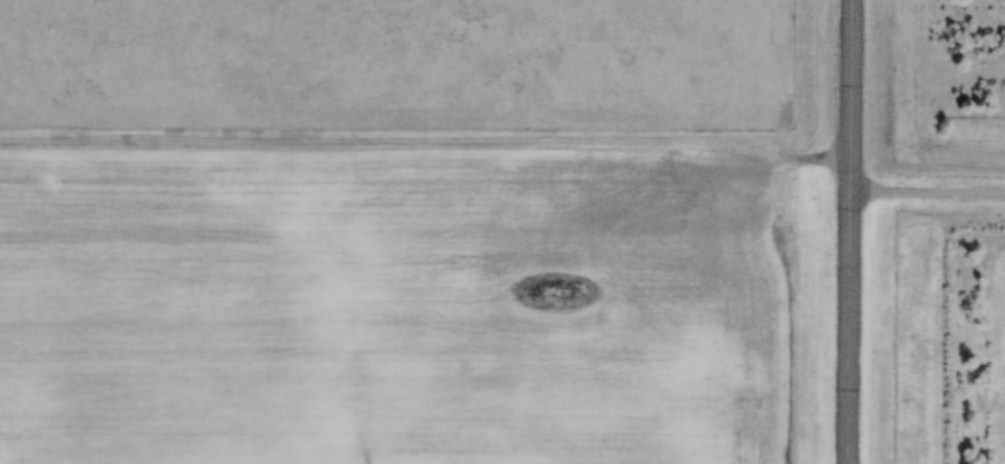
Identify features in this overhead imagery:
road: (928, 189)
road: (852, 232)

